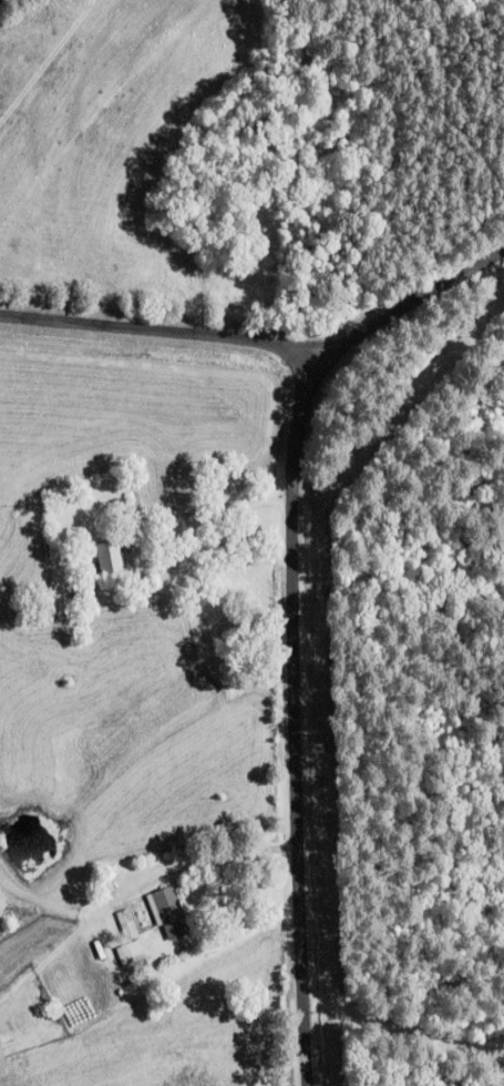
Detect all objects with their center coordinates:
road: (165, 327)
building: (110, 555)
road: (297, 616)
building: (171, 912)
building: (128, 923)
building: (132, 952)
building: (2, 1059)

